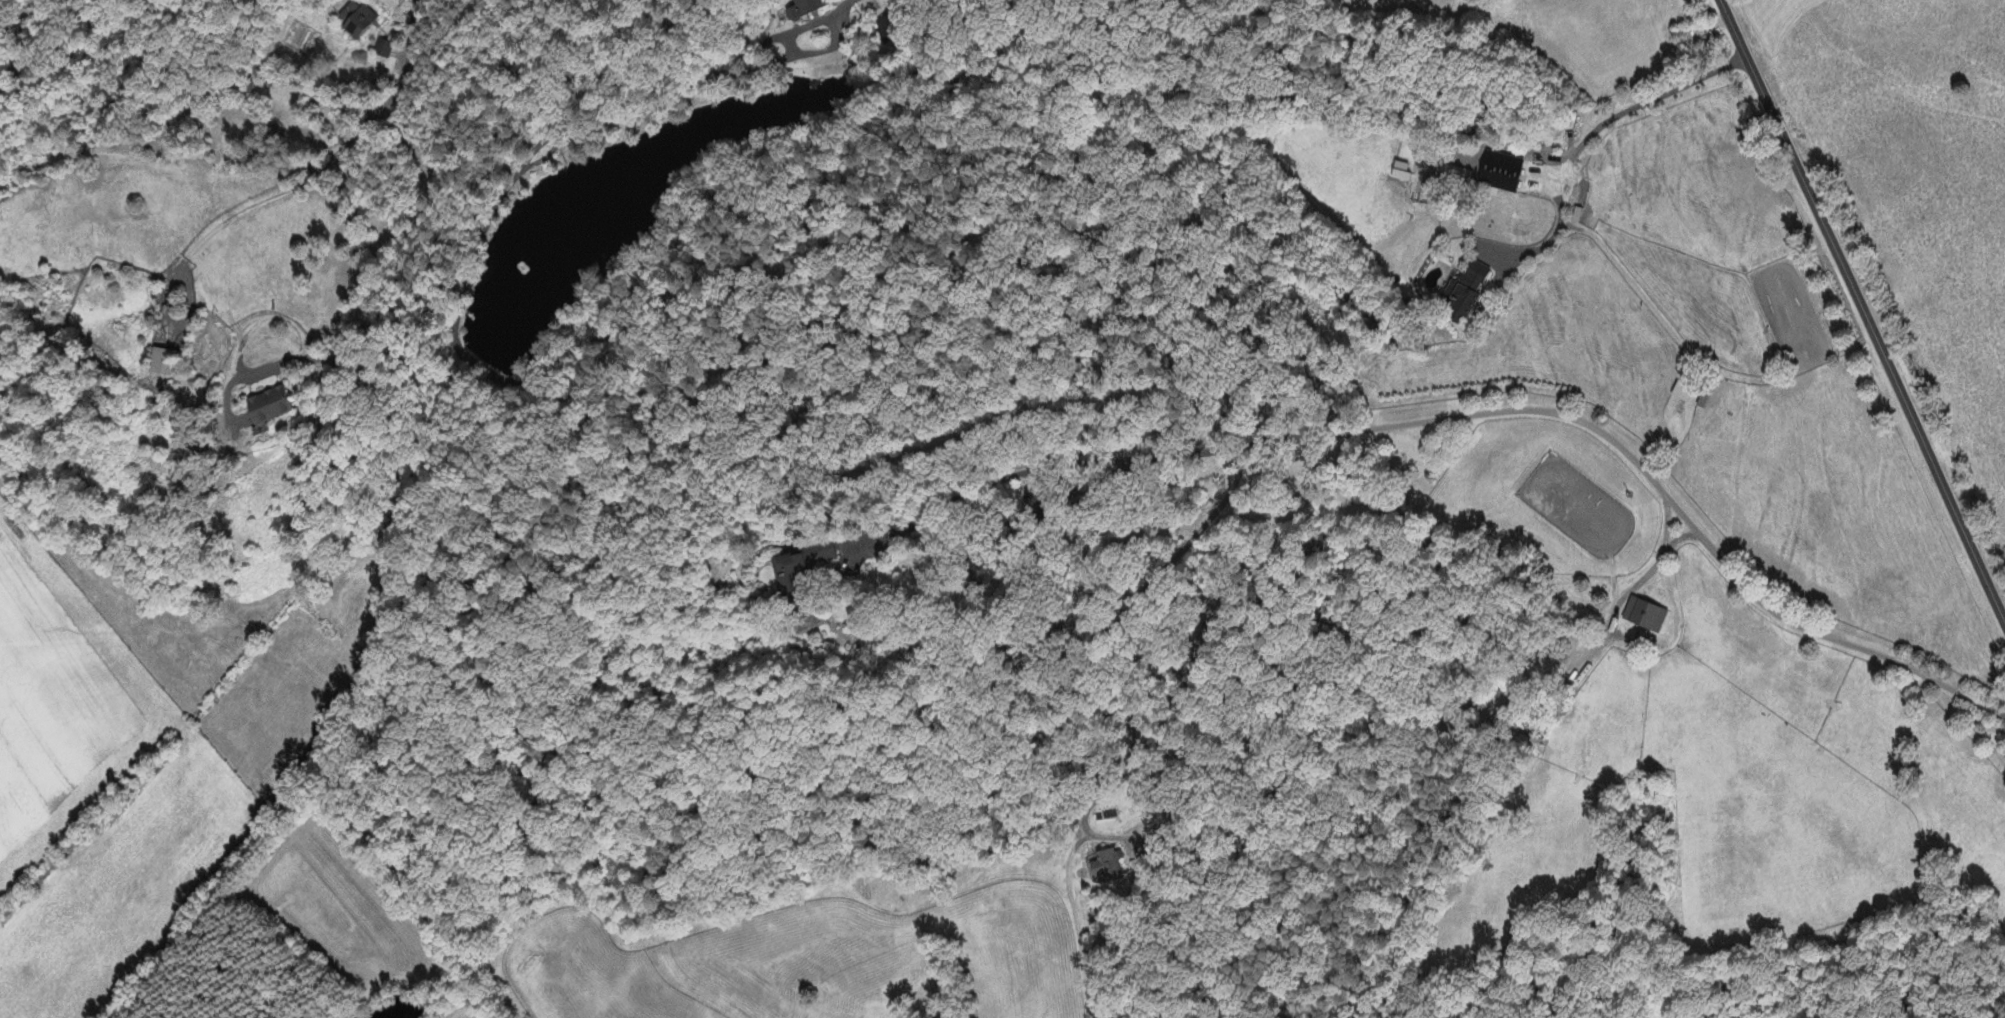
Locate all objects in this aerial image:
road: (841, 31)
road: (1582, 145)
road: (271, 202)
road: (710, 206)
road: (354, 223)
road: (483, 229)
road: (1862, 313)
road: (1409, 423)
road: (1110, 475)
road: (986, 485)
road: (1662, 521)
road: (1681, 539)
road: (1628, 589)
road: (1120, 632)

